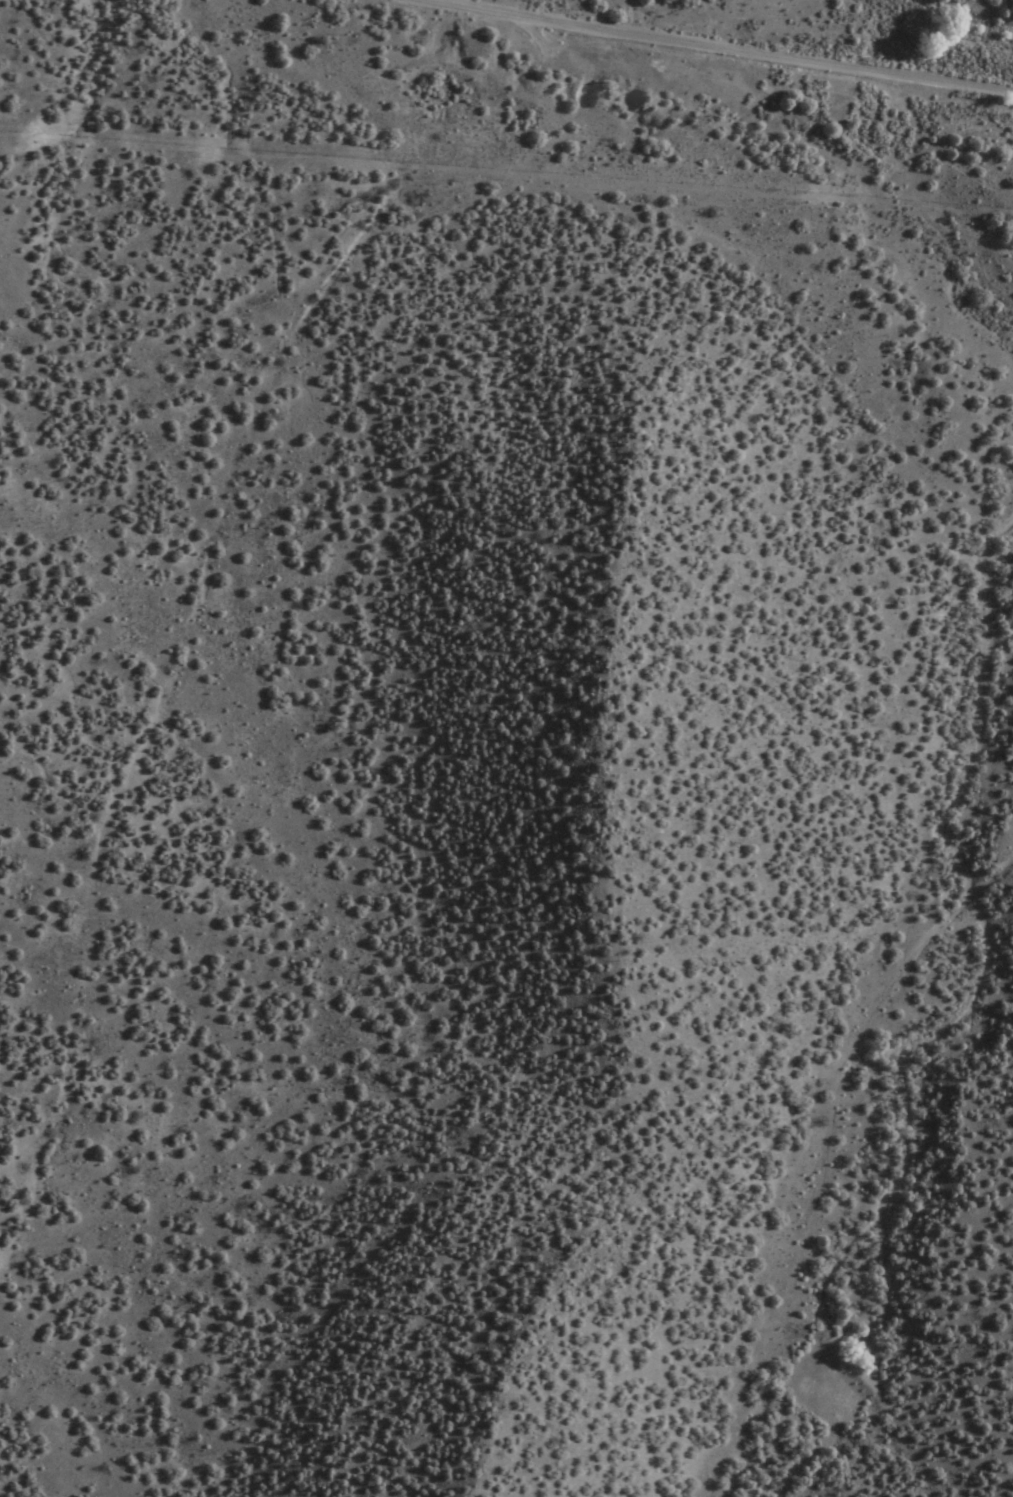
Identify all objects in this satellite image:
road: (731, 46)

